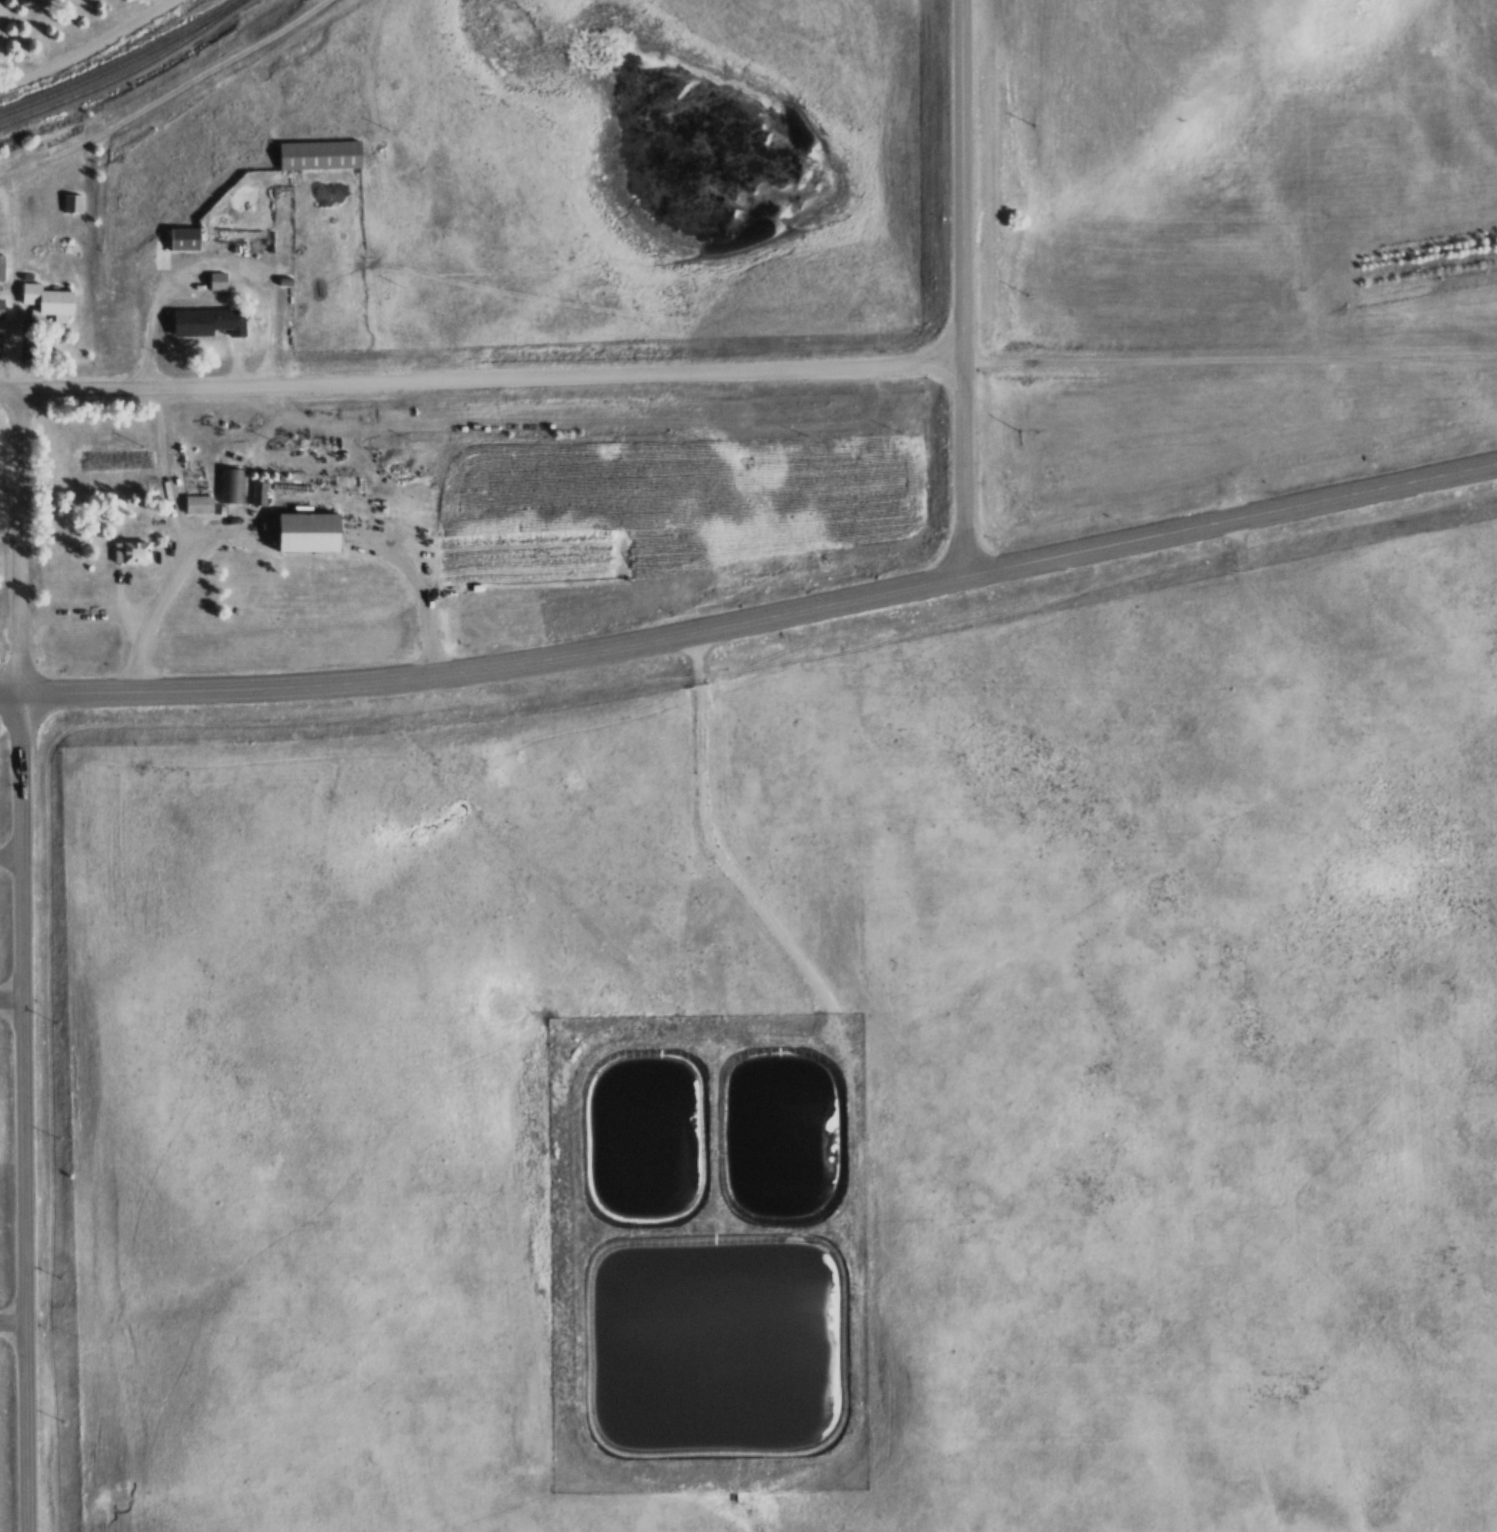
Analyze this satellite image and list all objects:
road: (101, 53)
railway: (123, 62)
railway: (127, 70)
road: (174, 101)
building: (322, 156)
road: (971, 184)
building: (72, 204)
building: (173, 245)
building: (142, 262)
building: (0, 269)
building: (215, 281)
building: (46, 300)
building: (0, 312)
building: (201, 323)
road: (1234, 365)
road: (486, 383)
road: (972, 474)
building: (231, 486)
building: (257, 493)
building: (197, 505)
building: (303, 532)
building: (132, 552)
road: (753, 625)
road: (32, 860)
road: (16, 1007)
road: (34, 1430)

